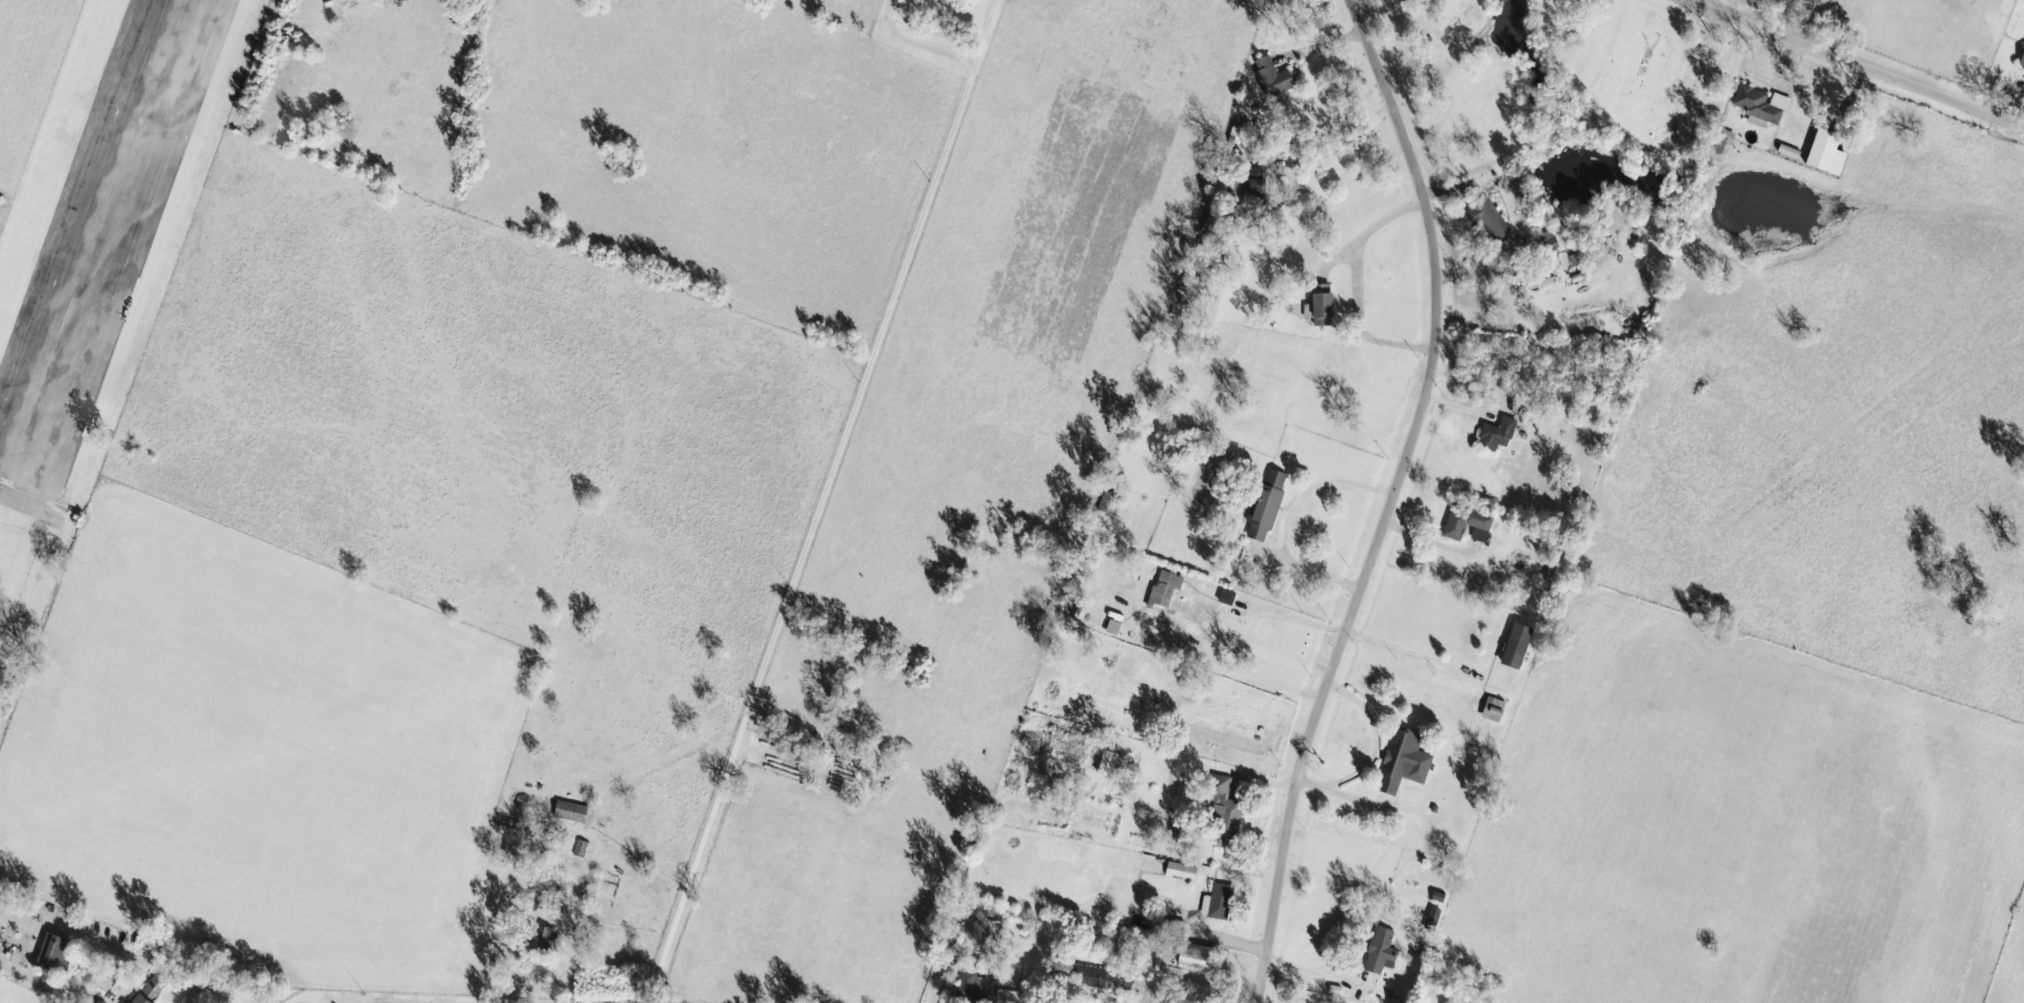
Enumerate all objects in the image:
building: (1404, 1)
road: (288, 2)
road: (1785, 19)
road: (959, 58)
road: (1854, 65)
building: (2023, 67)
road: (1792, 73)
building: (1276, 78)
building: (1764, 107)
road: (1332, 121)
building: (1830, 155)
building: (1256, 185)
building: (1489, 220)
road: (1374, 234)
building: (1554, 241)
road: (1481, 278)
building: (1327, 306)
road: (1362, 325)
building: (1501, 435)
road: (1314, 490)
road: (1384, 497)
building: (1271, 506)
building: (1457, 532)
road: (811, 538)
road: (1305, 569)
building: (1168, 590)
building: (1230, 598)
road: (1321, 624)
building: (1520, 646)
building: (1497, 710)
road: (1372, 749)
building: (1408, 762)
building: (574, 812)
building: (1228, 814)
building: (1185, 871)
building: (1221, 902)
building: (998, 917)
building: (1436, 917)
building: (549, 938)
building: (1384, 952)
building: (58, 954)
building: (1201, 957)
road: (1318, 968)
building: (1106, 979)
road: (218, 982)
building: (982, 987)
building: (153, 992)
road: (1145, 998)
building: (128, 1001)

